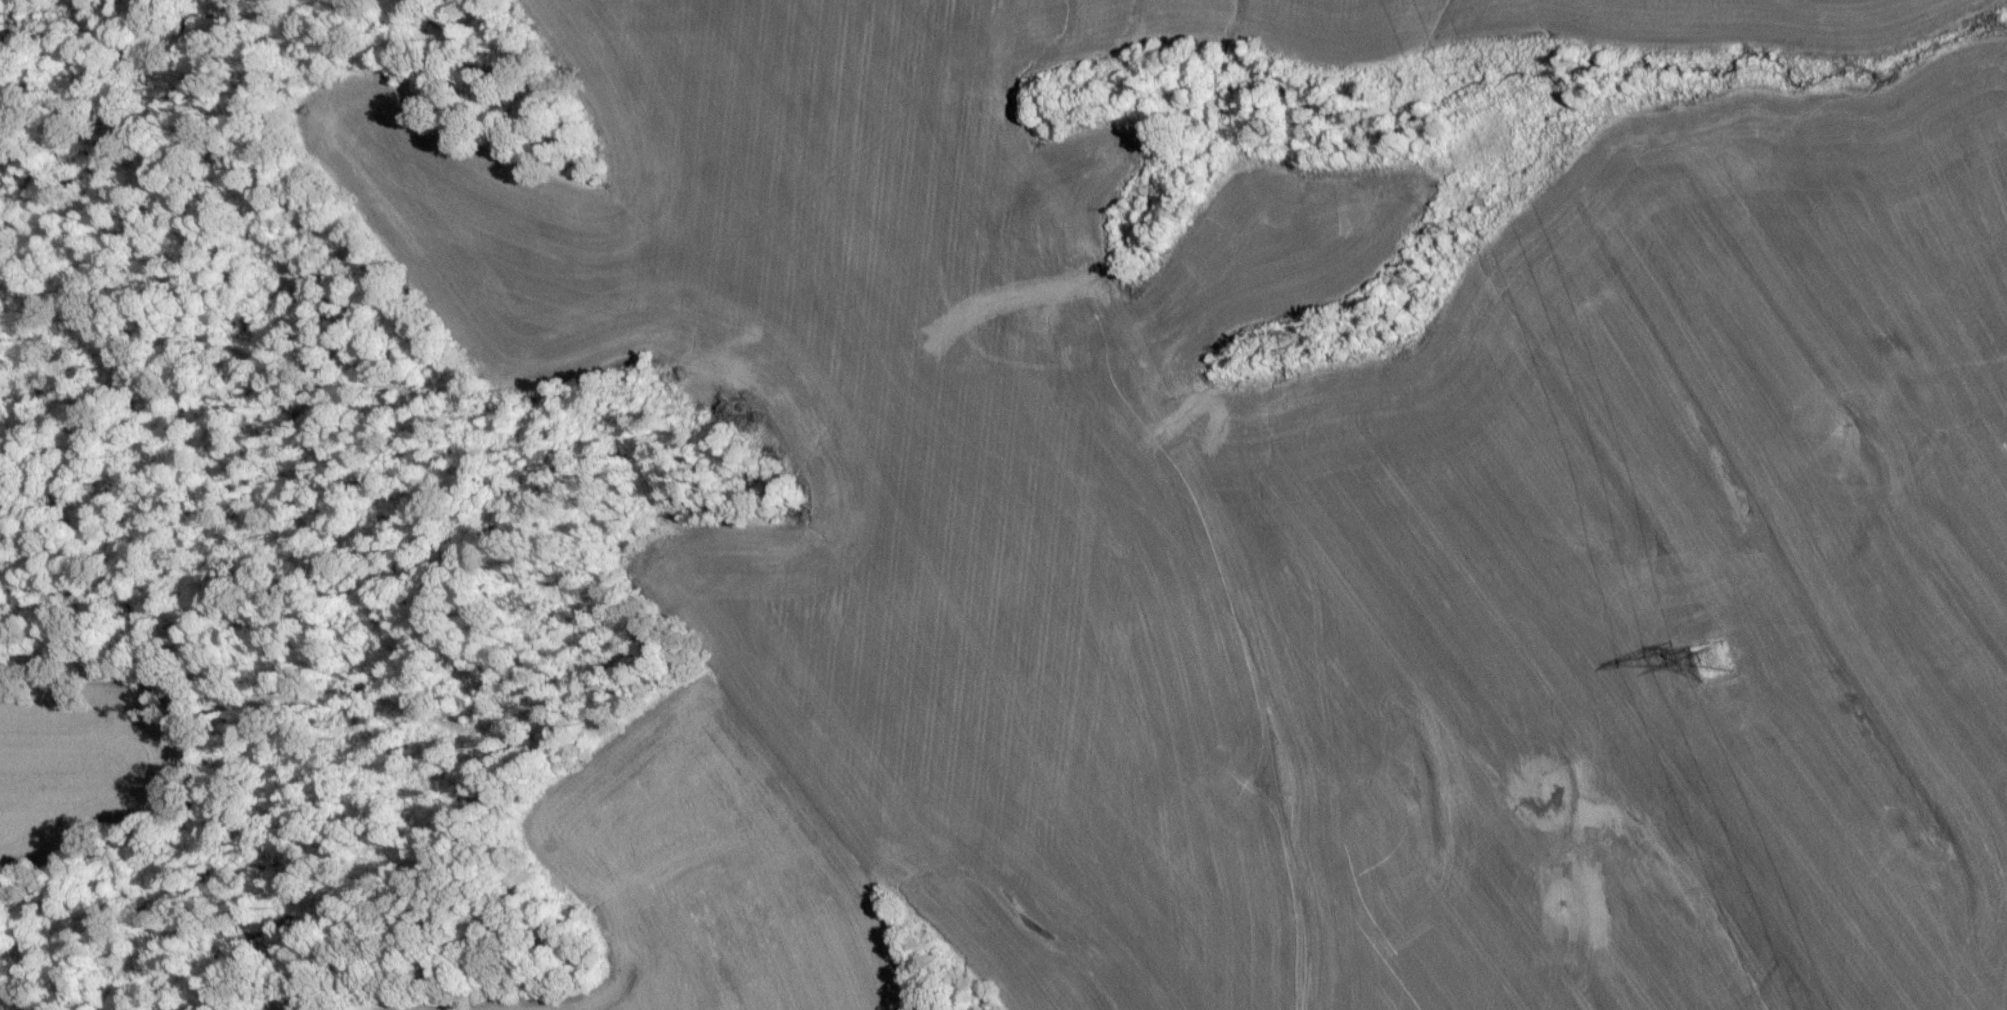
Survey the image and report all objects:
power tower: (1713, 664)

